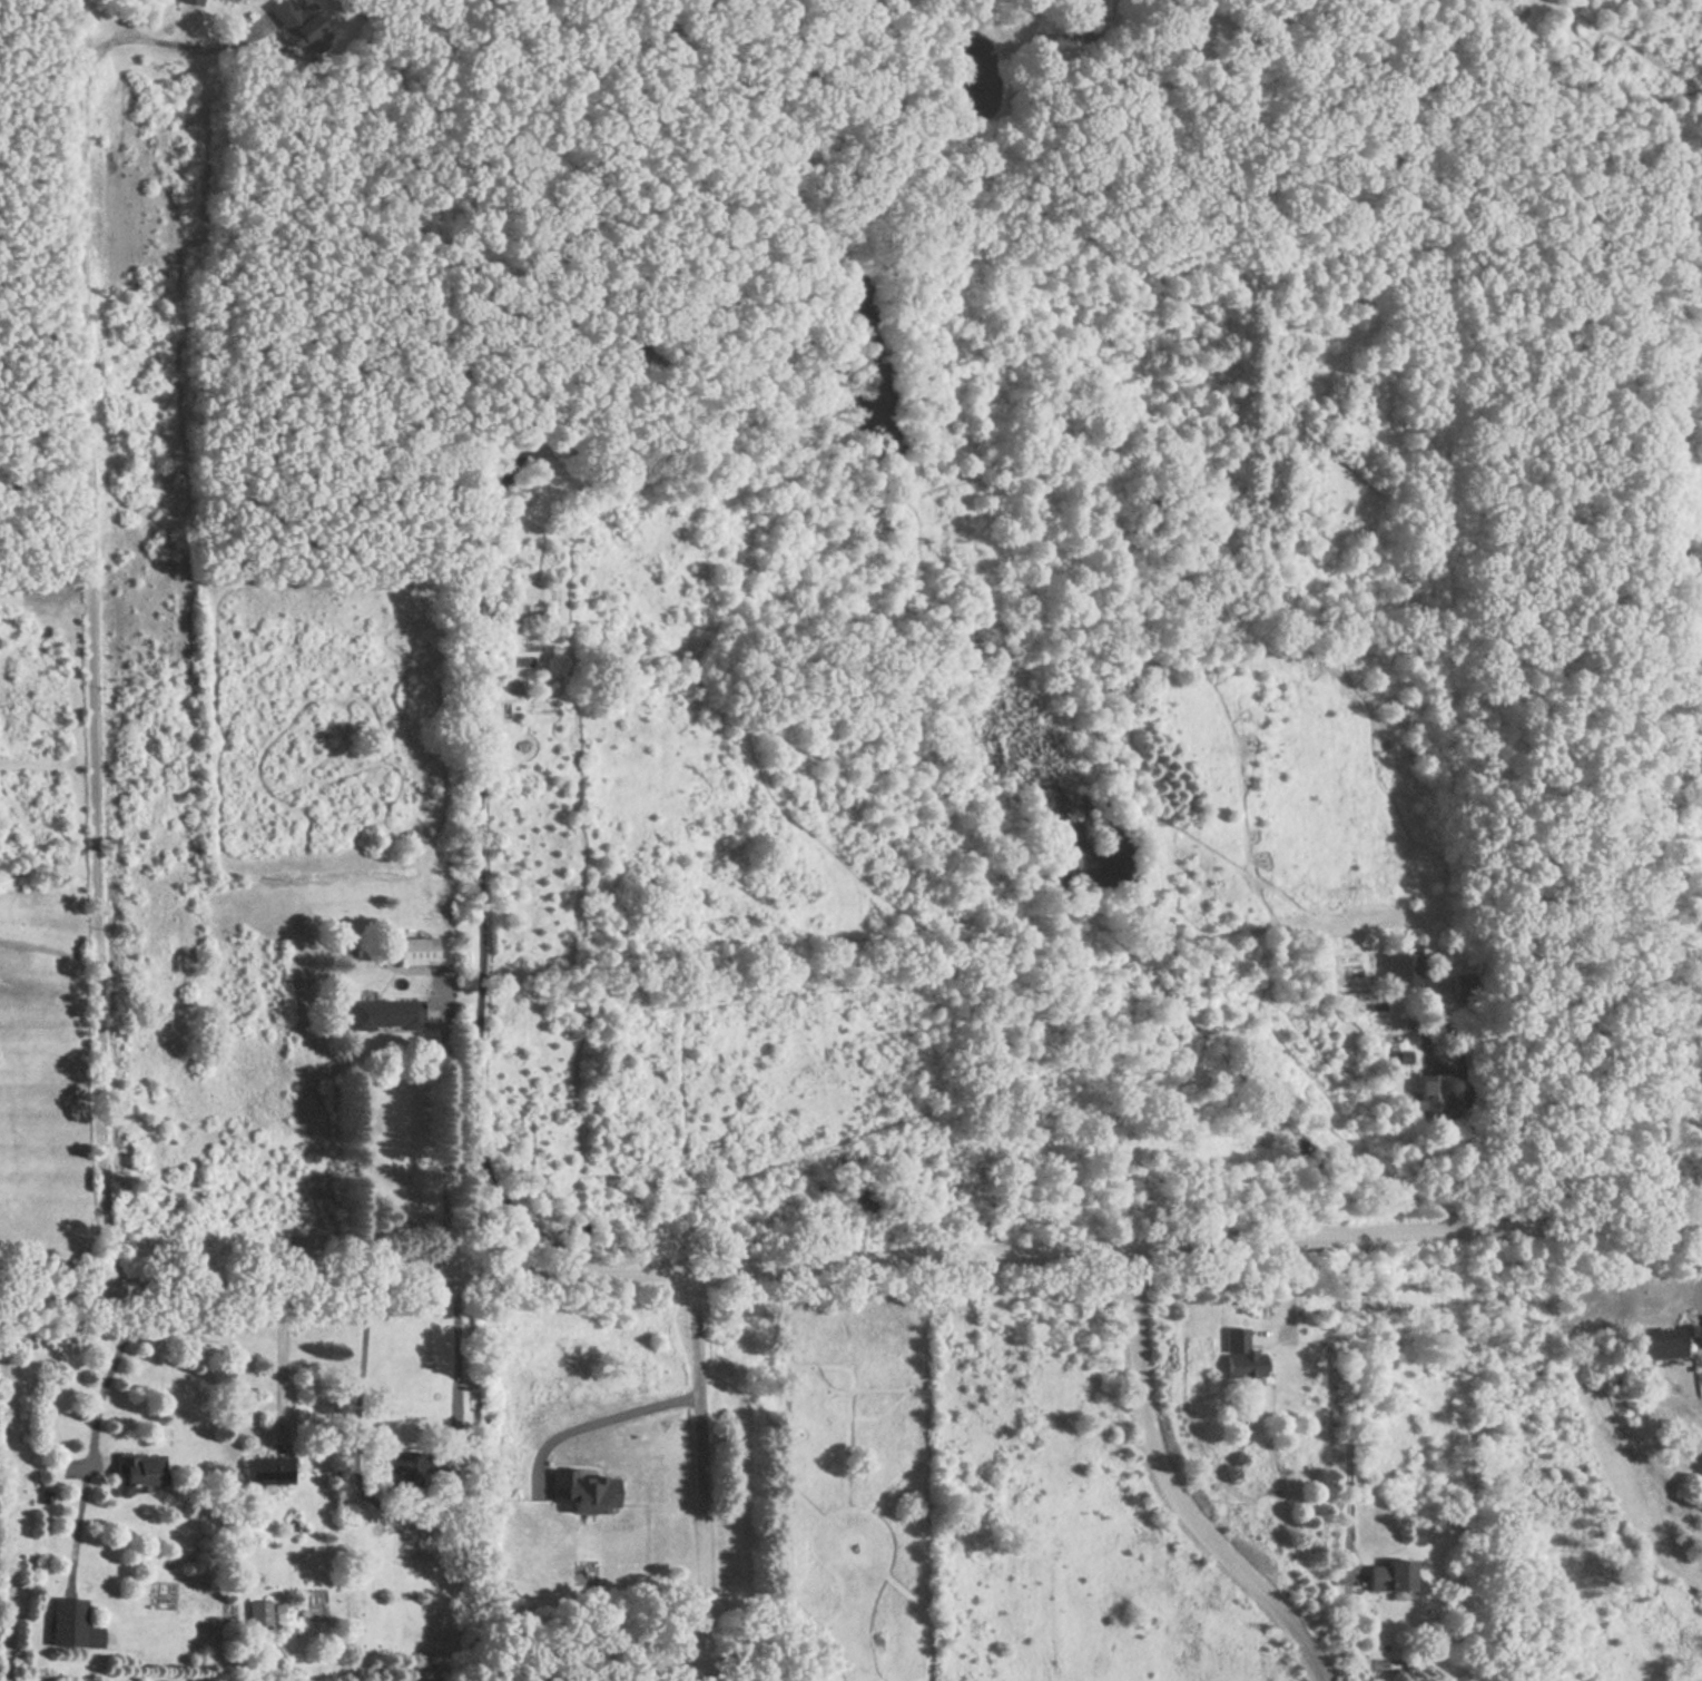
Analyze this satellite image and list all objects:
building: (288, 18)
road: (160, 46)
road: (91, 645)
road: (481, 834)
building: (416, 950)
building: (1401, 970)
building: (1460, 982)
building: (385, 1013)
building: (1432, 1099)
road: (1534, 1151)
road: (850, 1256)
road: (1291, 1296)
building: (1665, 1343)
building: (1239, 1356)
road: (285, 1358)
road: (1354, 1396)
road: (601, 1418)
road: (94, 1437)
building: (136, 1472)
building: (265, 1472)
building: (400, 1473)
road: (699, 1475)
road: (1172, 1488)
road: (6, 1501)
road: (407, 1516)
building: (1388, 1576)
building: (258, 1614)
building: (70, 1625)
road: (704, 1659)

